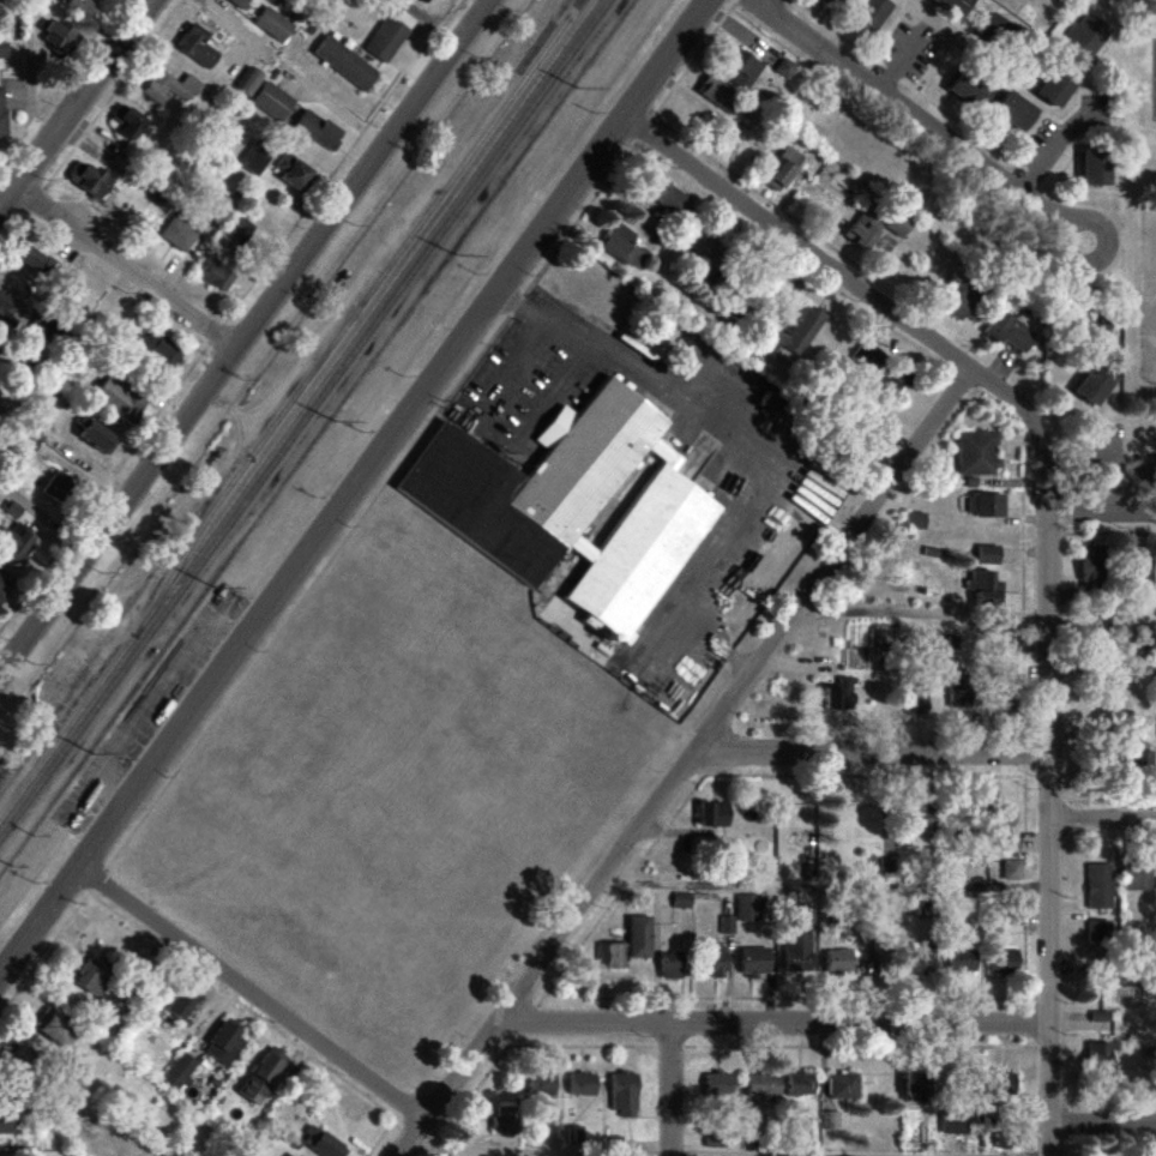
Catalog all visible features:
building: (423, 1)
building: (823, 1)
building: (240, 2)
building: (80, 6)
building: (957, 6)
building: (872, 13)
building: (273, 24)
building: (992, 25)
building: (59, 35)
building: (1086, 35)
building: (389, 36)
building: (198, 47)
building: (2, 50)
building: (345, 62)
road: (901, 67)
building: (785, 68)
building: (746, 70)
building: (249, 80)
park: (1151, 80)
road: (30, 82)
building: (1058, 85)
building: (169, 86)
building: (970, 89)
building: (718, 94)
building: (272, 101)
road: (74, 103)
building: (1016, 110)
building: (2, 118)
building: (127, 121)
road: (932, 126)
building: (317, 131)
building: (254, 158)
road: (1041, 161)
building: (1096, 167)
building: (783, 169)
building: (293, 170)
building: (90, 179)
building: (668, 195)
building: (217, 212)
building: (898, 224)
building: (239, 229)
building: (863, 229)
building: (177, 235)
road: (797, 243)
building: (621, 245)
building: (35, 260)
road: (120, 263)
park: (1143, 264)
building: (215, 273)
park: (1149, 291)
building: (967, 303)
building: (6, 307)
railway: (349, 324)
building: (796, 331)
building: (1011, 332)
road: (242, 335)
building: (156, 348)
building: (868, 357)
building: (896, 379)
building: (1096, 384)
building: (120, 398)
railway: (300, 413)
railway: (305, 420)
road: (718, 426)
building: (97, 435)
building: (977, 453)
road: (1112, 476)
building: (59, 486)
road: (353, 489)
building: (574, 504)
building: (986, 505)
road: (1101, 513)
road: (43, 517)
building: (915, 519)
building: (14, 543)
building: (988, 554)
building: (1092, 562)
building: (4, 586)
building: (986, 588)
road: (917, 613)
road: (734, 656)
road: (1102, 668)
building: (961, 693)
building: (839, 694)
road: (1049, 746)
road: (872, 753)
building: (1142, 760)
road: (685, 764)
building: (712, 814)
building: (920, 818)
road: (1103, 818)
building: (1000, 819)
building: (1011, 869)
building: (1136, 878)
road: (106, 884)
road: (825, 884)
building: (1097, 886)
building: (681, 899)
building: (746, 908)
building: (727, 925)
building: (1096, 933)
building: (639, 937)
building: (796, 951)
building: (612, 956)
building: (922, 958)
building: (715, 959)
building: (754, 961)
building: (838, 961)
building: (962, 961)
building: (1004, 964)
building: (672, 965)
road: (1103, 969)
building: (94, 976)
building: (181, 1004)
road: (277, 1011)
building: (1100, 1016)
road: (775, 1024)
building: (55, 1025)
building: (225, 1042)
building: (23, 1059)
building: (1100, 1059)
building: (180, 1072)
building: (264, 1076)
building: (582, 1084)
building: (718, 1084)
building: (800, 1084)
building: (1003, 1084)
building: (541, 1085)
building: (764, 1085)
building: (843, 1086)
building: (917, 1089)
road: (672, 1090)
building: (624, 1094)
building: (507, 1118)
building: (953, 1122)
building: (7, 1124)
road: (1103, 1125)
building: (573, 1134)
building: (1005, 1140)
building: (323, 1143)
building: (612, 1146)
road: (592, 1154)
building: (290, 1155)
road: (1035, 1155)

